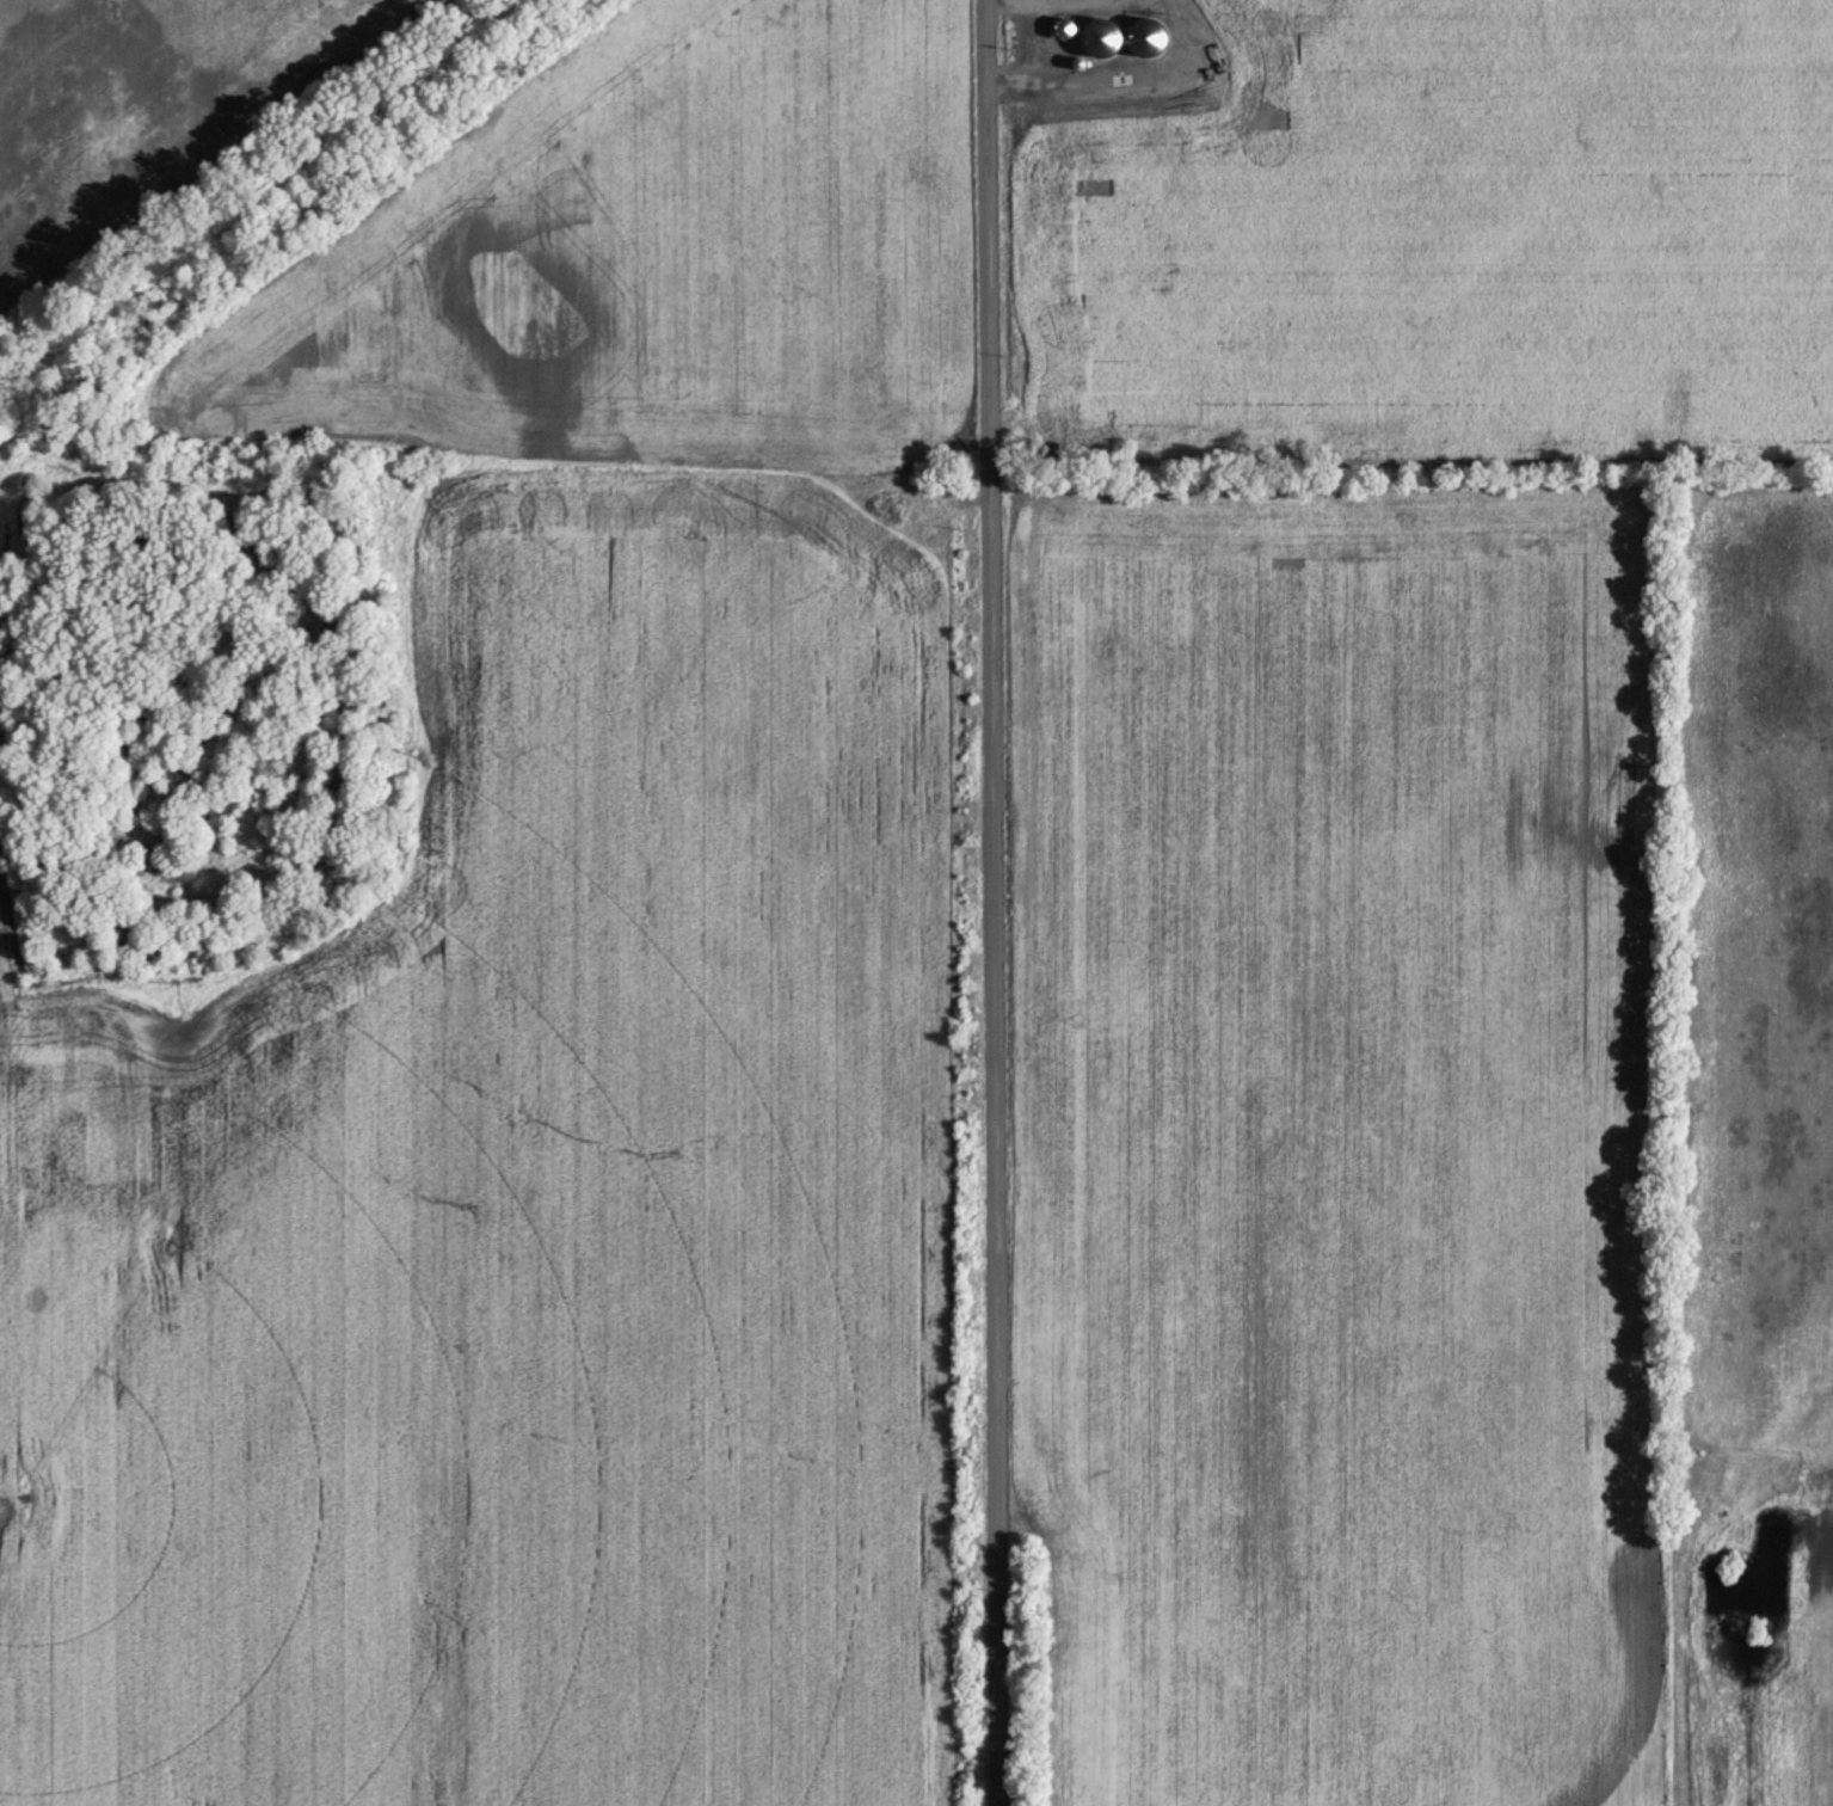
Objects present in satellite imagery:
road: (983, 903)

